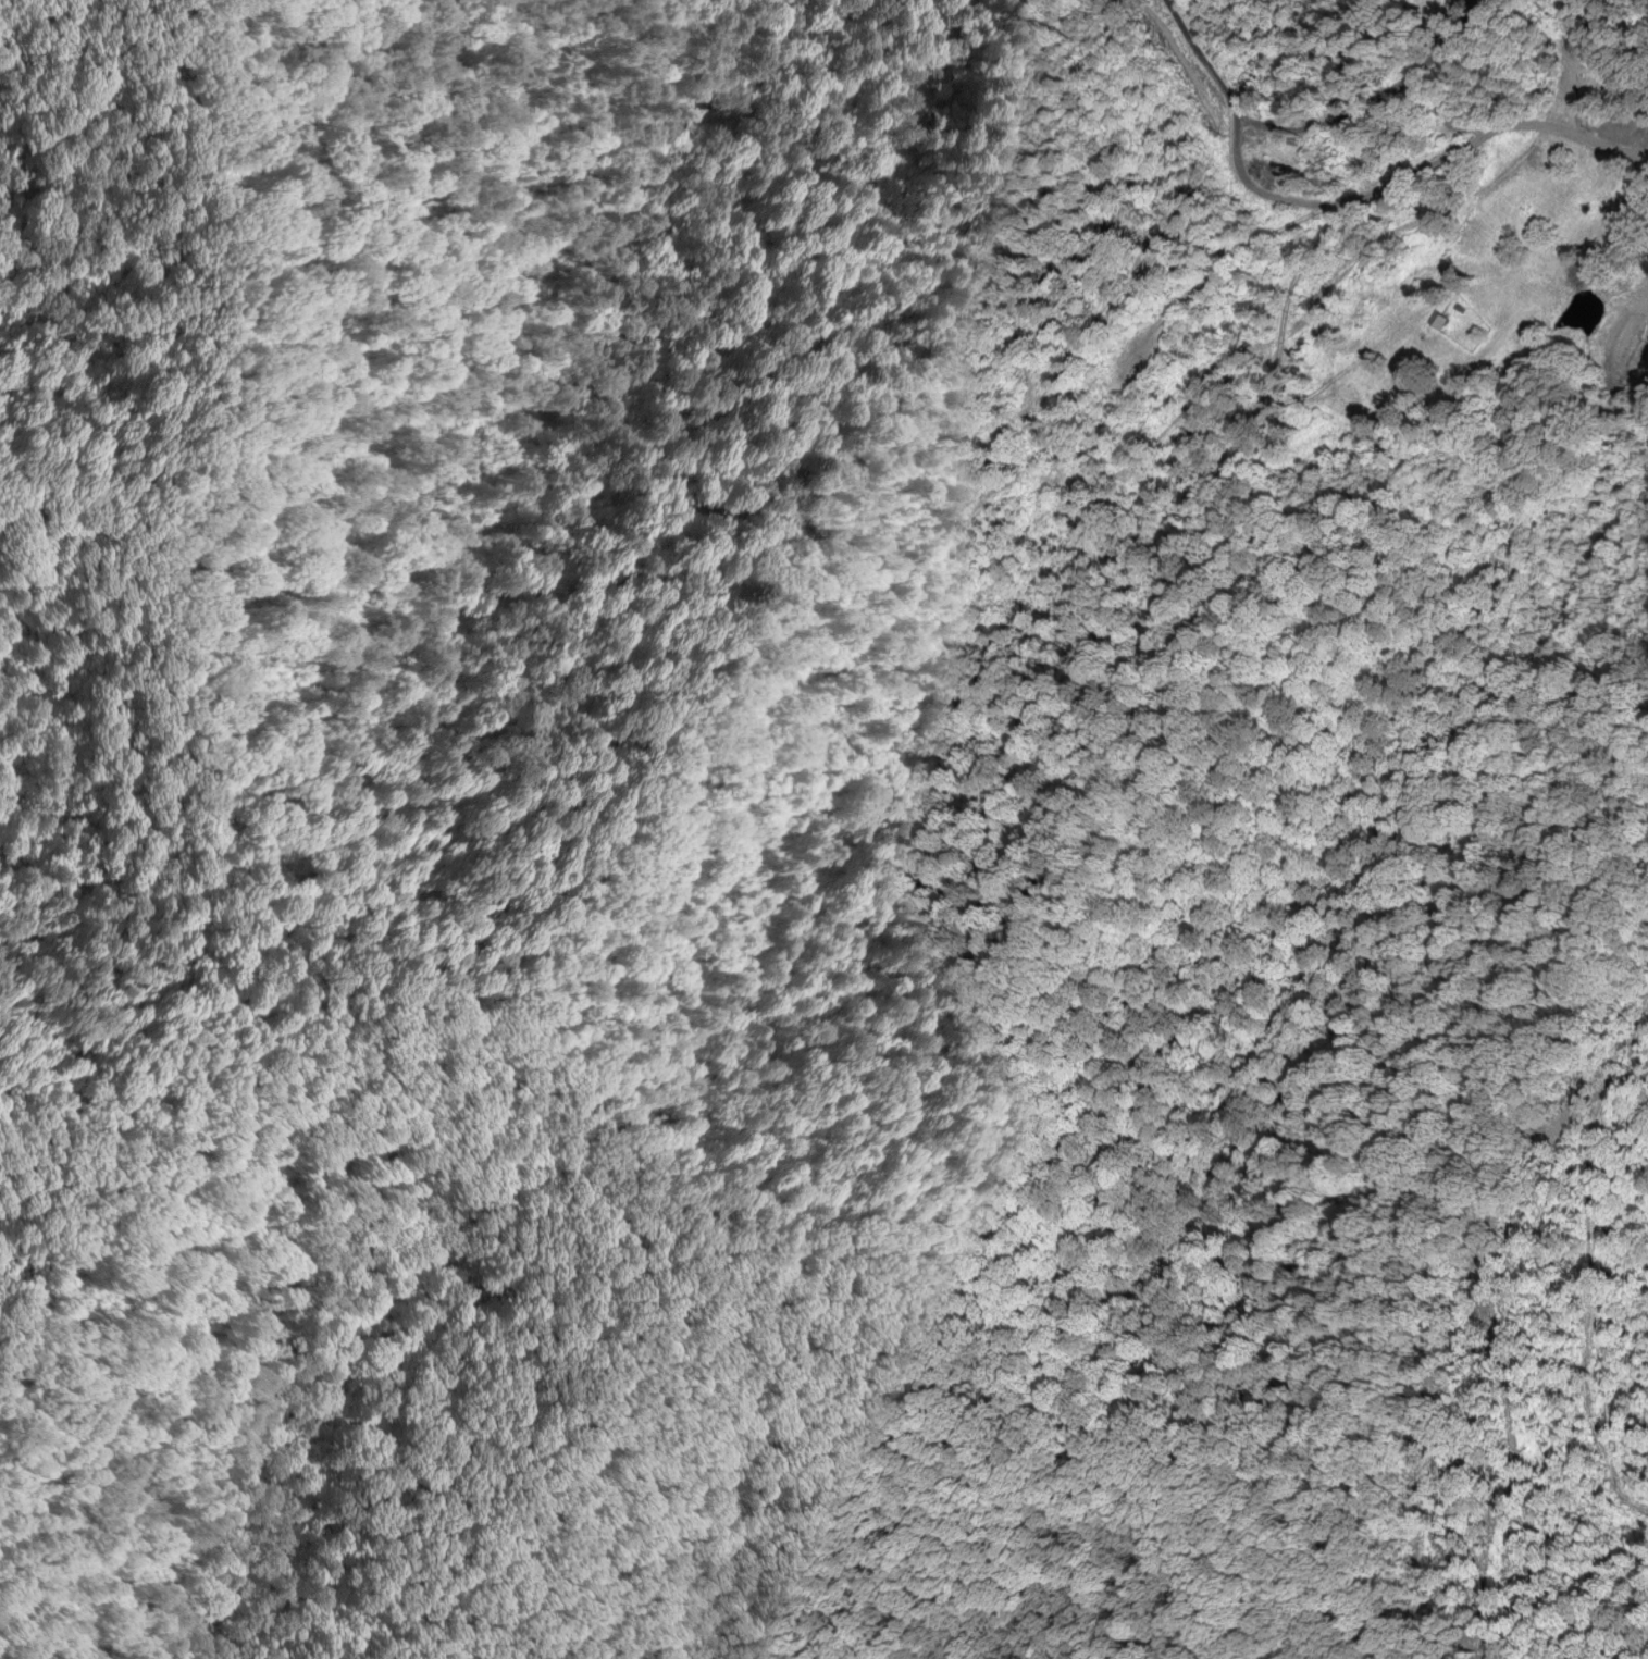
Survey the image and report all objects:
road: (1206, 61)
road: (1577, 134)
road: (1463, 152)
building: (1438, 319)

